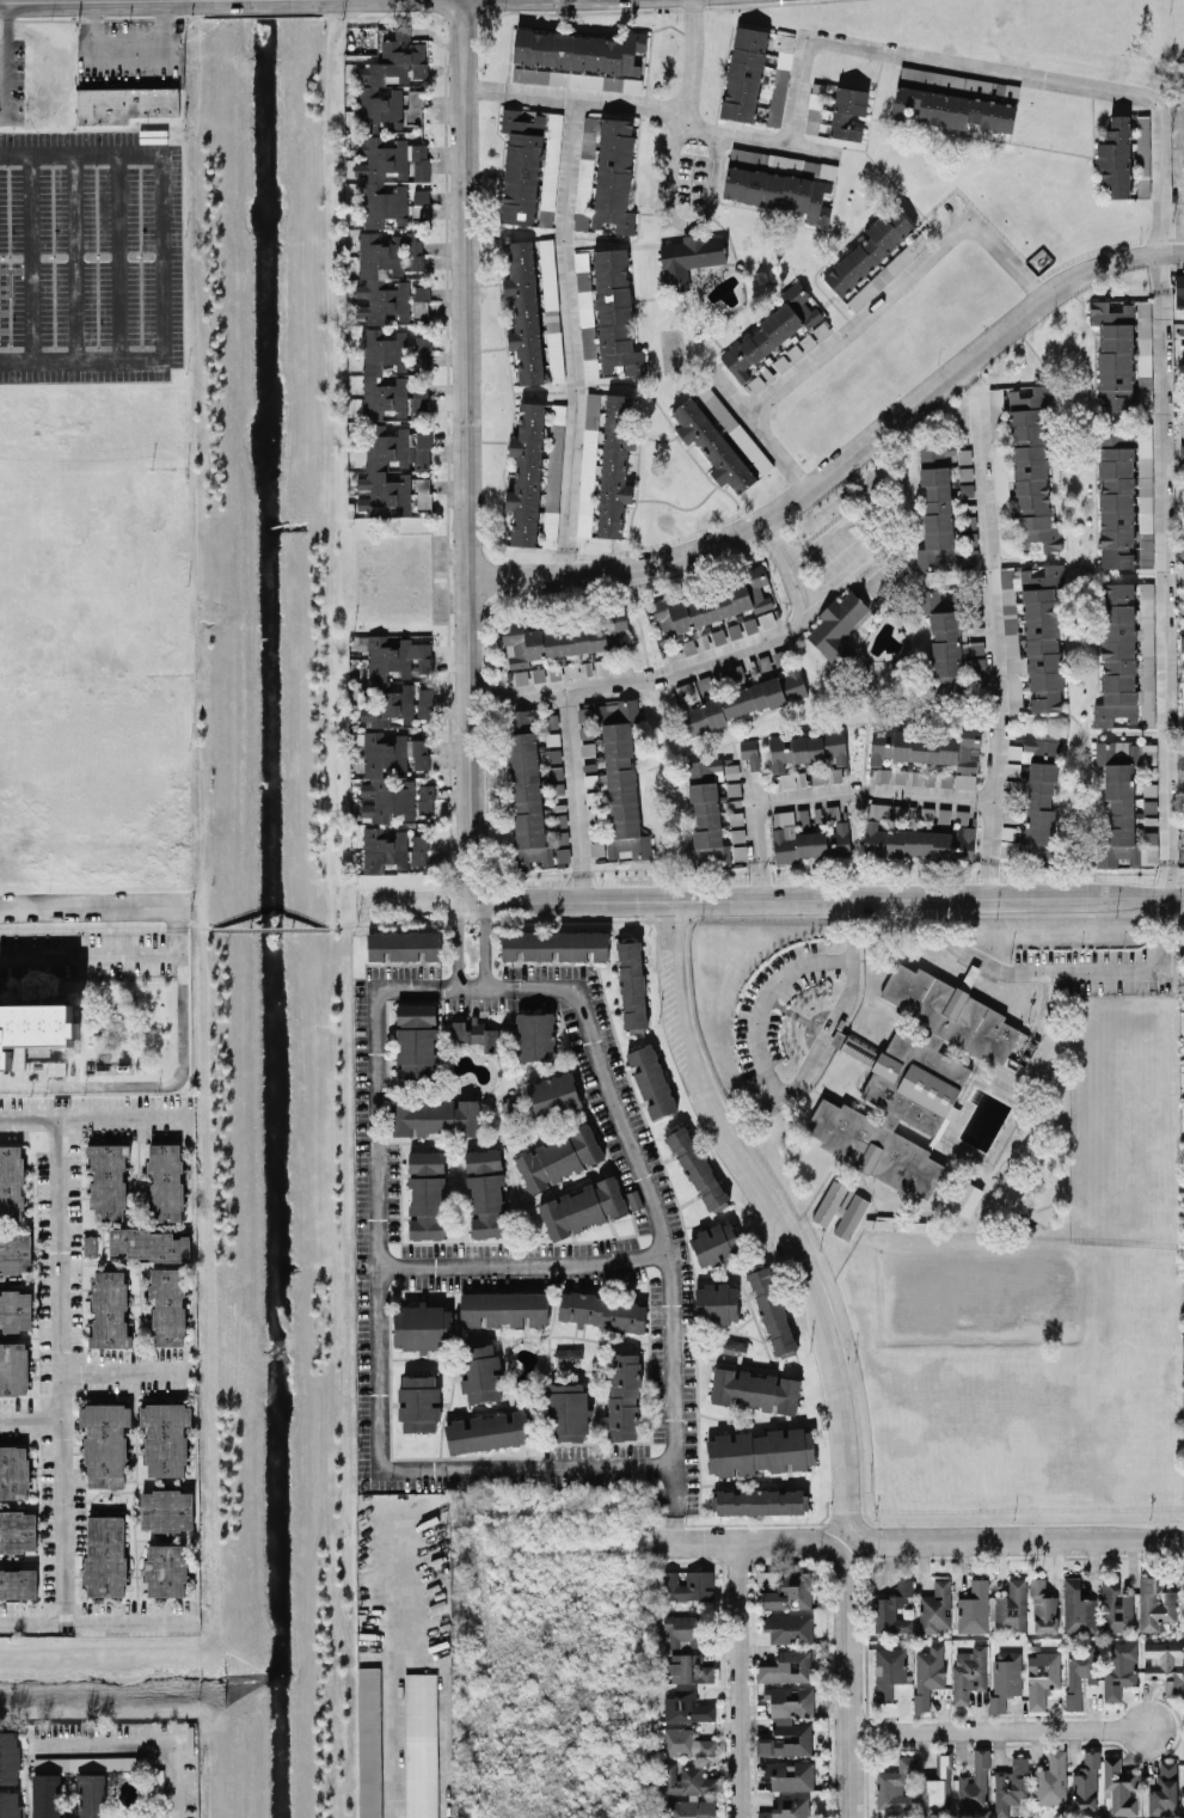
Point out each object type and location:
road: (102, 0)
road: (127, 45)
road: (6, 57)
building: (578, 60)
building: (744, 73)
road: (723, 78)
building: (388, 79)
building: (958, 81)
building: (778, 91)
building: (123, 104)
building: (413, 106)
road: (655, 106)
building: (953, 109)
building: (812, 111)
building: (847, 111)
building: (589, 131)
road: (982, 136)
road: (1093, 141)
road: (851, 148)
road: (872, 158)
building: (1115, 158)
building: (762, 159)
building: (530, 165)
road: (670, 167)
road: (1179, 171)
building: (614, 175)
building: (373, 182)
building: (779, 191)
building: (419, 202)
building: (582, 202)
building: (870, 249)
building: (413, 251)
parking lot: (92, 255)
road: (27, 256)
road: (75, 256)
road: (117, 256)
road: (162, 256)
building: (688, 257)
building: (885, 273)
building: (548, 274)
building: (380, 278)
road: (897, 284)
building: (1179, 290)
building: (422, 292)
building: (523, 310)
building: (615, 312)
building: (585, 316)
building: (771, 330)
building: (1143, 331)
road: (571, 335)
building: (1115, 354)
building: (373, 373)
road: (759, 434)
road: (1158, 439)
building: (711, 443)
building: (1182, 449)
road: (467, 451)
building: (554, 451)
building: (606, 461)
road: (848, 463)
building: (391, 467)
building: (1031, 469)
building: (526, 473)
building: (423, 492)
building: (1118, 504)
building: (935, 507)
road: (838, 575)
building: (712, 605)
building: (749, 624)
building: (836, 626)
road: (990, 628)
building: (618, 631)
building: (720, 635)
building: (1043, 637)
building: (551, 641)
building: (1182, 642)
building: (947, 643)
building: (1011, 645)
building: (1125, 655)
road: (698, 660)
building: (736, 673)
building: (520, 677)
building: (376, 679)
building: (735, 700)
building: (424, 702)
building: (523, 718)
building: (806, 748)
building: (931, 749)
building: (749, 752)
building: (618, 773)
building: (826, 775)
building: (373, 776)
building: (898, 776)
building: (786, 779)
road: (872, 790)
road: (575, 791)
building: (1183, 791)
building: (425, 798)
building: (527, 801)
building: (1039, 802)
building: (1122, 807)
building: (878, 809)
building: (705, 815)
building: (783, 835)
road: (754, 837)
building: (839, 840)
building: (919, 841)
building: (811, 843)
building: (382, 849)
building: (418, 849)
building: (1183, 856)
road: (928, 896)
road: (517, 901)
road: (90, 906)
road: (180, 917)
road: (499, 920)
road: (195, 924)
road: (268, 928)
road: (454, 943)
road: (484, 943)
building: (554, 944)
building: (403, 945)
road: (91, 953)
building: (631, 983)
road: (476, 985)
road: (765, 997)
building: (32, 1029)
building: (474, 1033)
building: (535, 1035)
road: (828, 1037)
building: (416, 1039)
building: (651, 1081)
road: (164, 1082)
building: (909, 1083)
road: (374, 1091)
building: (553, 1095)
building: (434, 1115)
road: (94, 1119)
building: (559, 1156)
building: (425, 1162)
building: (697, 1167)
building: (108, 1180)
building: (165, 1181)
building: (11, 1182)
building: (485, 1192)
building: (965, 1196)
building: (427, 1206)
building: (582, 1207)
building: (840, 1208)
road: (772, 1211)
building: (147, 1243)
building: (714, 1243)
building: (14, 1253)
road: (522, 1262)
building: (716, 1303)
building: (167, 1305)
building: (503, 1308)
building: (13, 1309)
building: (109, 1309)
building: (772, 1309)
building: (603, 1310)
building: (422, 1326)
building: (732, 1346)
building: (568, 1352)
building: (12, 1369)
road: (60, 1370)
road: (124, 1372)
building: (479, 1372)
building: (755, 1389)
building: (624, 1396)
building: (418, 1402)
building: (565, 1412)
road: (31, 1419)
building: (490, 1431)
building: (165, 1437)
road: (676, 1437)
building: (104, 1443)
building: (760, 1451)
building: (13, 1473)
road: (845, 1500)
building: (759, 1501)
road: (677, 1502)
building: (166, 1512)
road: (826, 1512)
road: (751, 1522)
road: (827, 1522)
building: (17, 1530)
road: (1018, 1537)
road: (742, 1540)
building: (105, 1555)
road: (863, 1556)
building: (166, 1569)
road: (393, 1577)
building: (768, 1578)
building: (18, 1583)
building: (687, 1585)
building: (790, 1589)
building: (1154, 1605)
building: (1011, 1606)
building: (1043, 1606)
building: (1076, 1606)
building: (1116, 1606)
building: (934, 1608)
building: (974, 1608)
building: (892, 1609)
road: (97, 1621)
building: (789, 1628)
building: (682, 1630)
building: (1165, 1665)
building: (787, 1666)
building: (688, 1669)
building: (1119, 1669)
building: (889, 1670)
building: (1079, 1671)
building: (968, 1672)
building: (927, 1673)
building: (1005, 1677)
building: (1041, 1677)
road: (737, 1679)
road: (848, 1684)
building: (687, 1707)
road: (442, 1714)
building: (787, 1721)
road: (999, 1727)
road: (394, 1734)
building: (369, 1742)
road: (142, 1743)
building: (686, 1743)
building: (421, 1744)
building: (10, 1757)
building: (124, 1762)
building: (790, 1775)
building: (683, 1779)
building: (1051, 1779)
building: (1085, 1782)
building: (1011, 1785)
building: (974, 1786)
building: (1119, 1786)
building: (894, 1787)
building: (937, 1787)
building: (1164, 1789)
building: (91, 1794)
building: (45, 1795)
building: (10, 1804)
building: (689, 1807)
building: (787, 1807)

